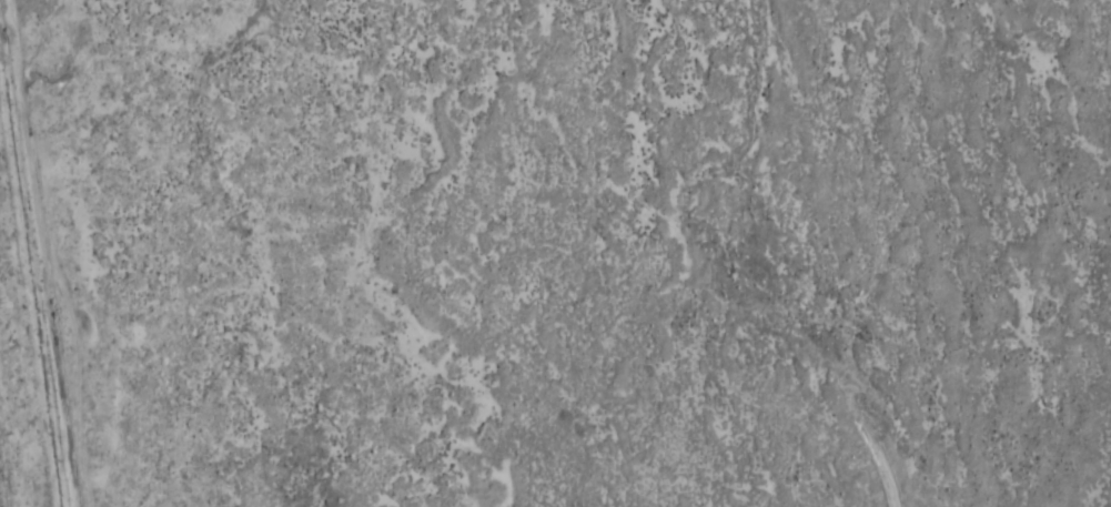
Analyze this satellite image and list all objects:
road: (42, 253)

